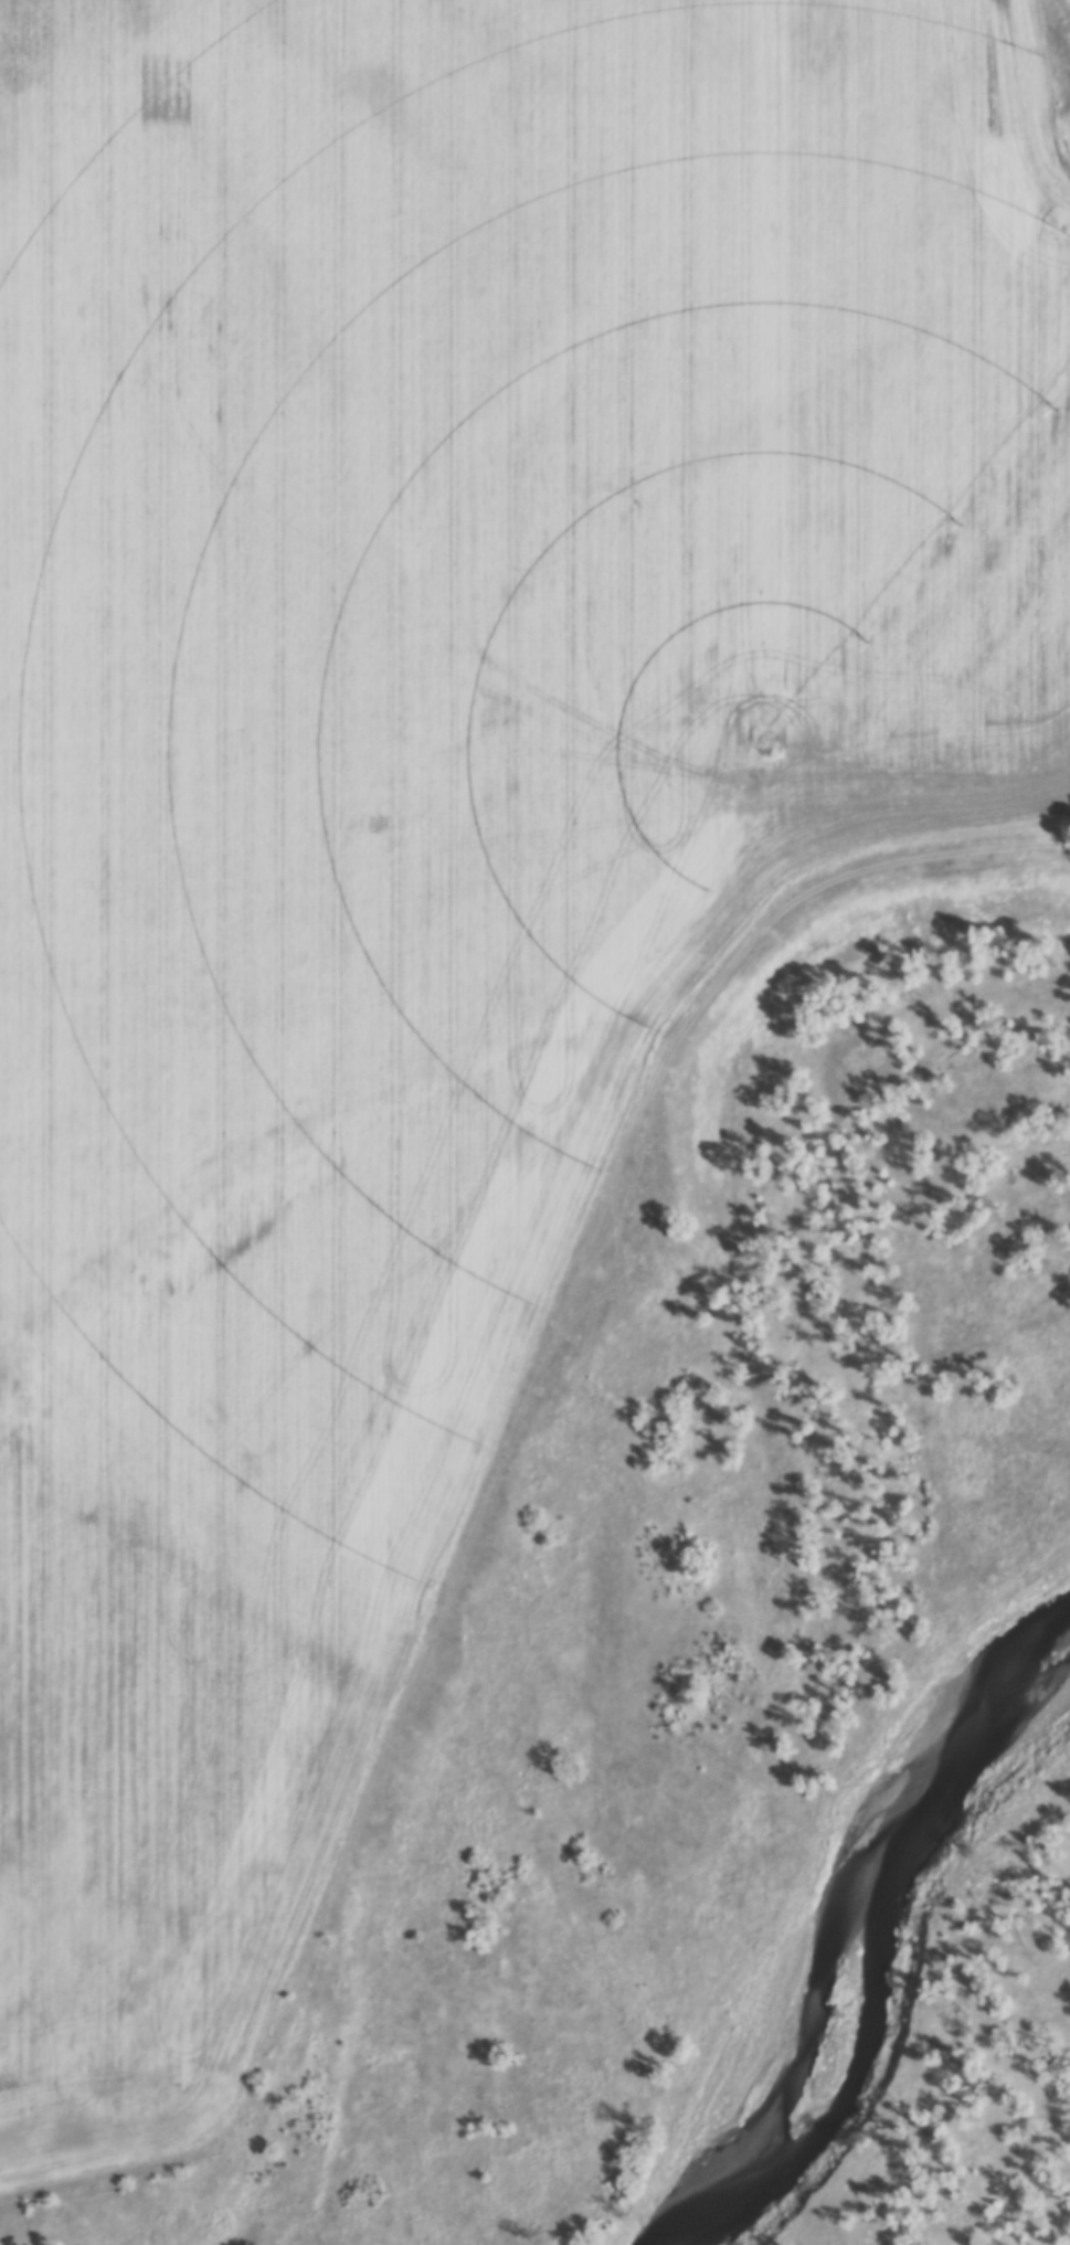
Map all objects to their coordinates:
road: (750, 902)

